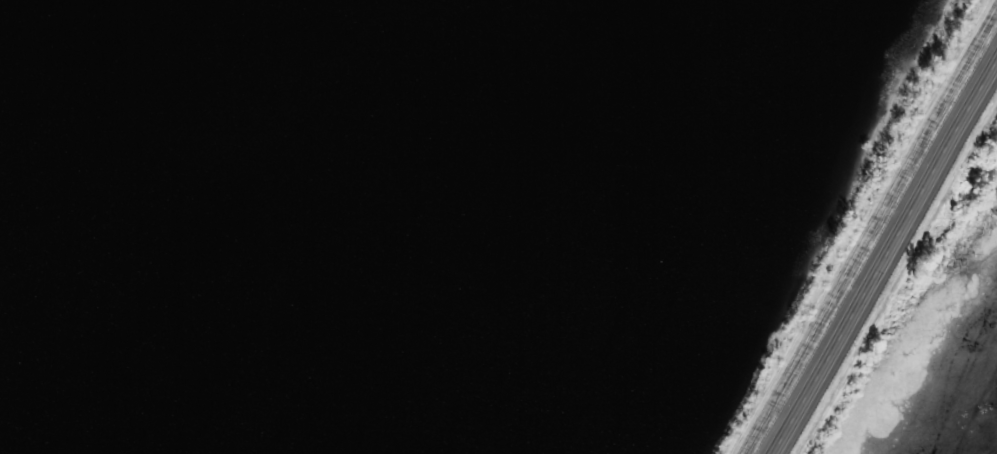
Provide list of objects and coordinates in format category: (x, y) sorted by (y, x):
road: (883, 254)

